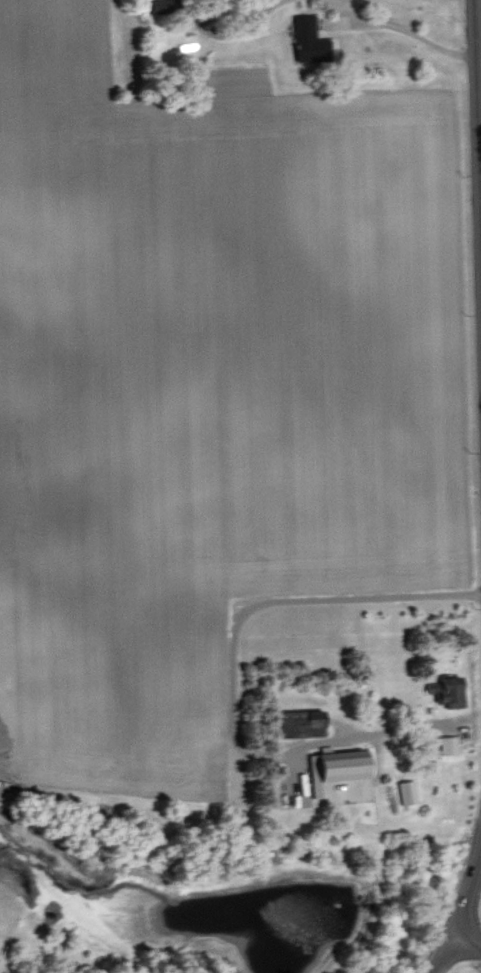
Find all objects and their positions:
building: (163, 5)
road: (406, 29)
building: (309, 39)
road: (477, 40)
road: (476, 279)
road: (480, 524)
road: (230, 671)
building: (448, 690)
building: (301, 723)
building: (449, 744)
building: (338, 767)
building: (407, 791)
road: (461, 918)
road: (468, 939)

